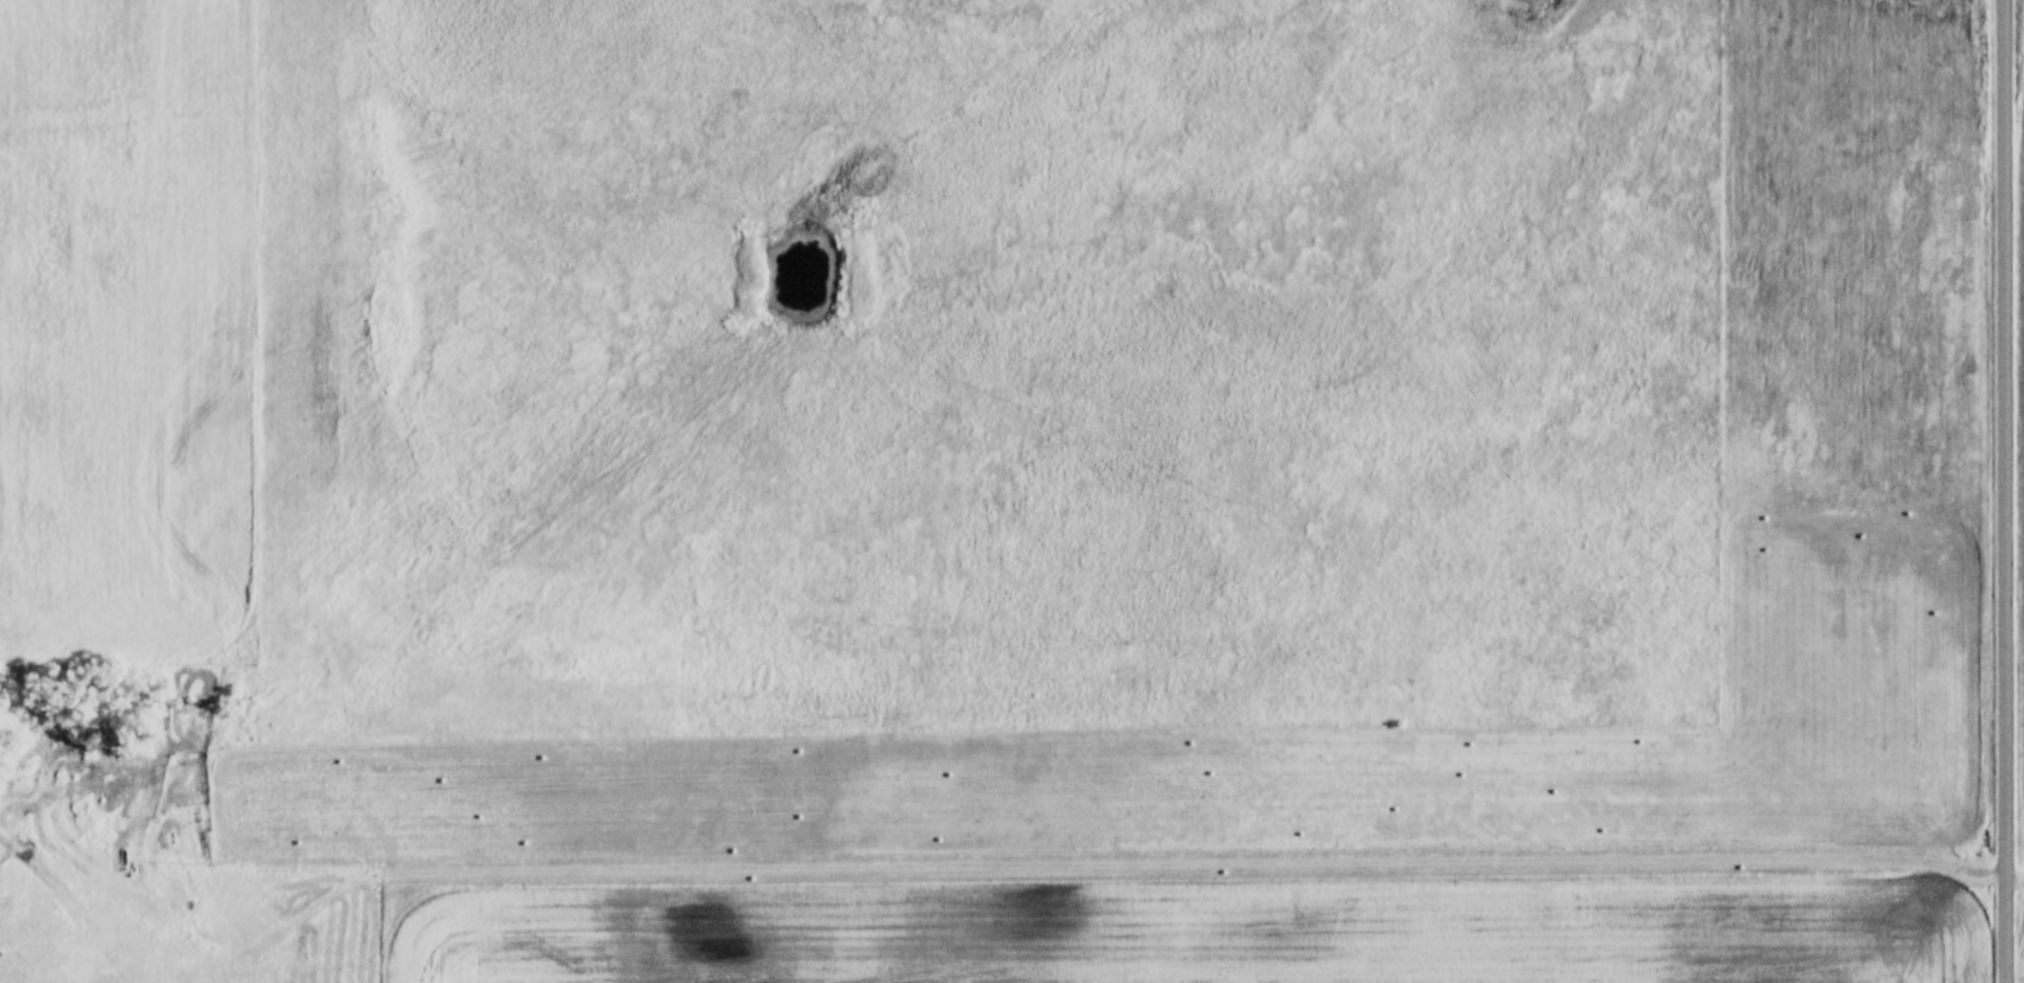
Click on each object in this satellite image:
road: (2001, 491)

